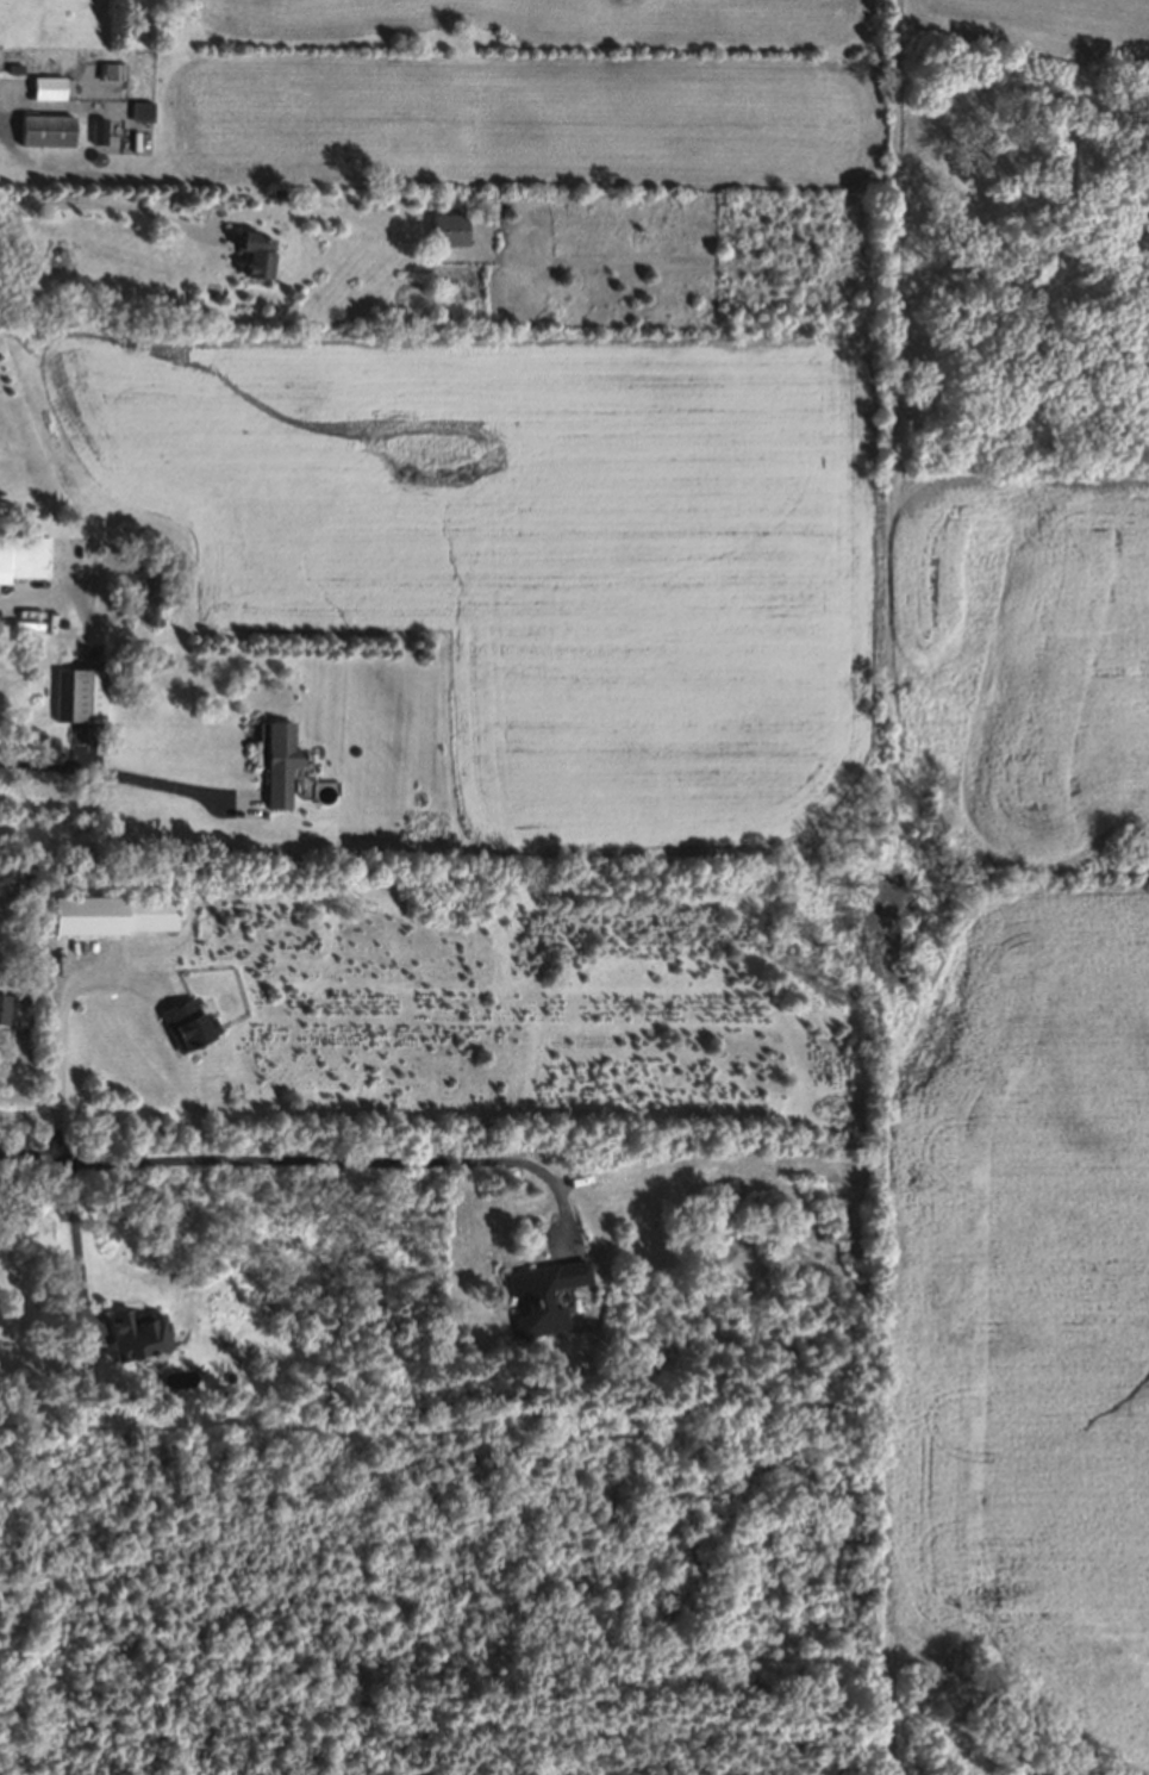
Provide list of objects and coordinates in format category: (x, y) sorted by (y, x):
building: (49, 88)
road: (31, 102)
building: (143, 111)
building: (99, 131)
building: (48, 133)
road: (117, 205)
building: (450, 231)
building: (256, 254)
building: (24, 558)
building: (81, 696)
building: (279, 764)
road: (110, 771)
building: (111, 916)
building: (4, 1009)
road: (61, 1024)
building: (187, 1024)
road: (29, 1111)
road: (302, 1157)
road: (76, 1239)
building: (543, 1296)
building: (138, 1334)

